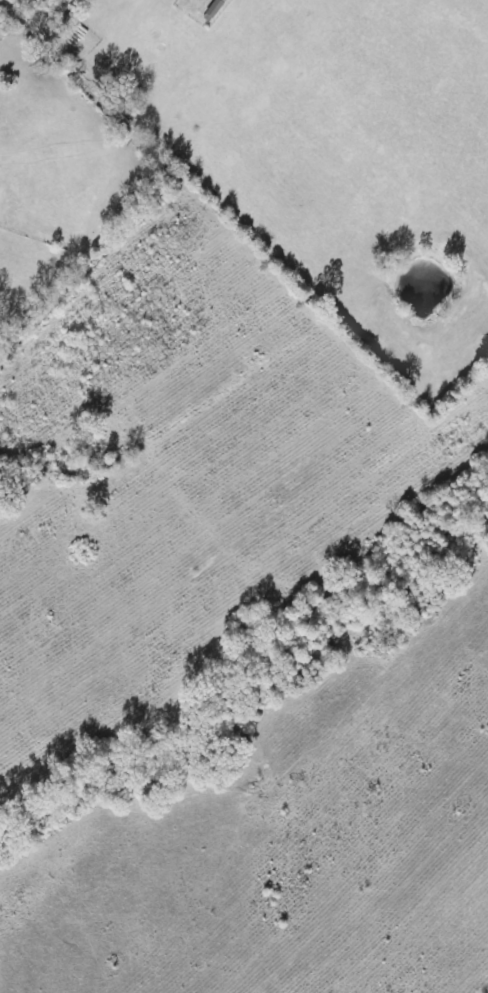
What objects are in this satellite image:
building: (214, 11)
road: (64, 18)
road: (131, 166)

